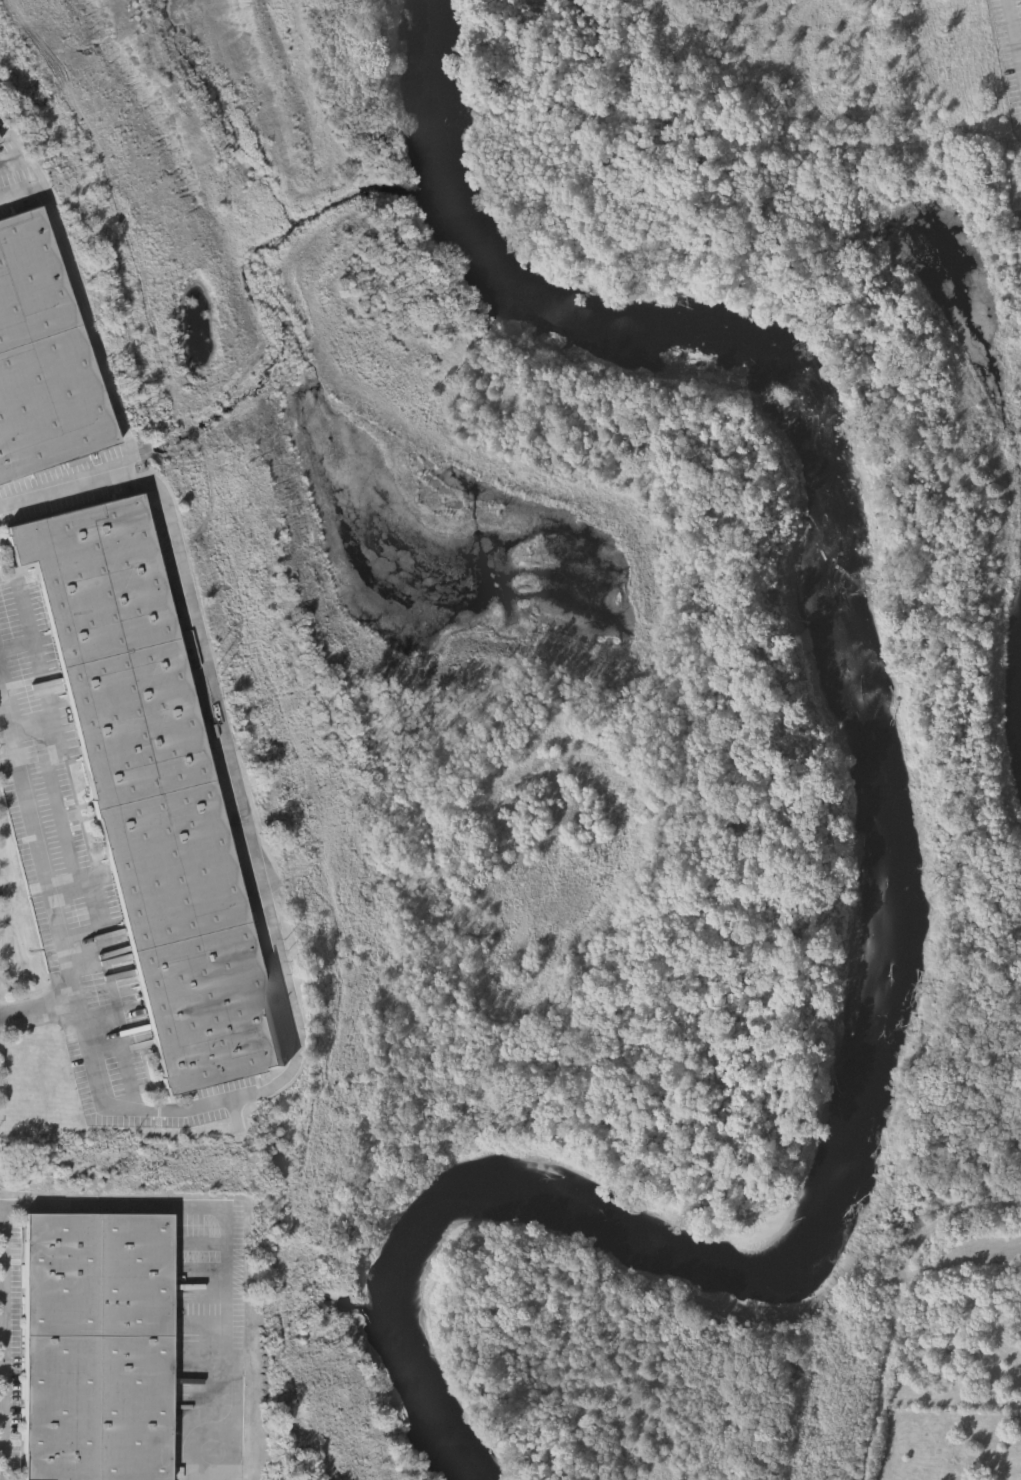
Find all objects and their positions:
road: (1013, 34)
road: (9, 166)
building: (44, 356)
building: (152, 787)
river: (868, 839)
road: (255, 844)
road: (44, 871)
road: (226, 1232)
road: (5, 1342)
building: (98, 1345)
road: (3, 1409)

